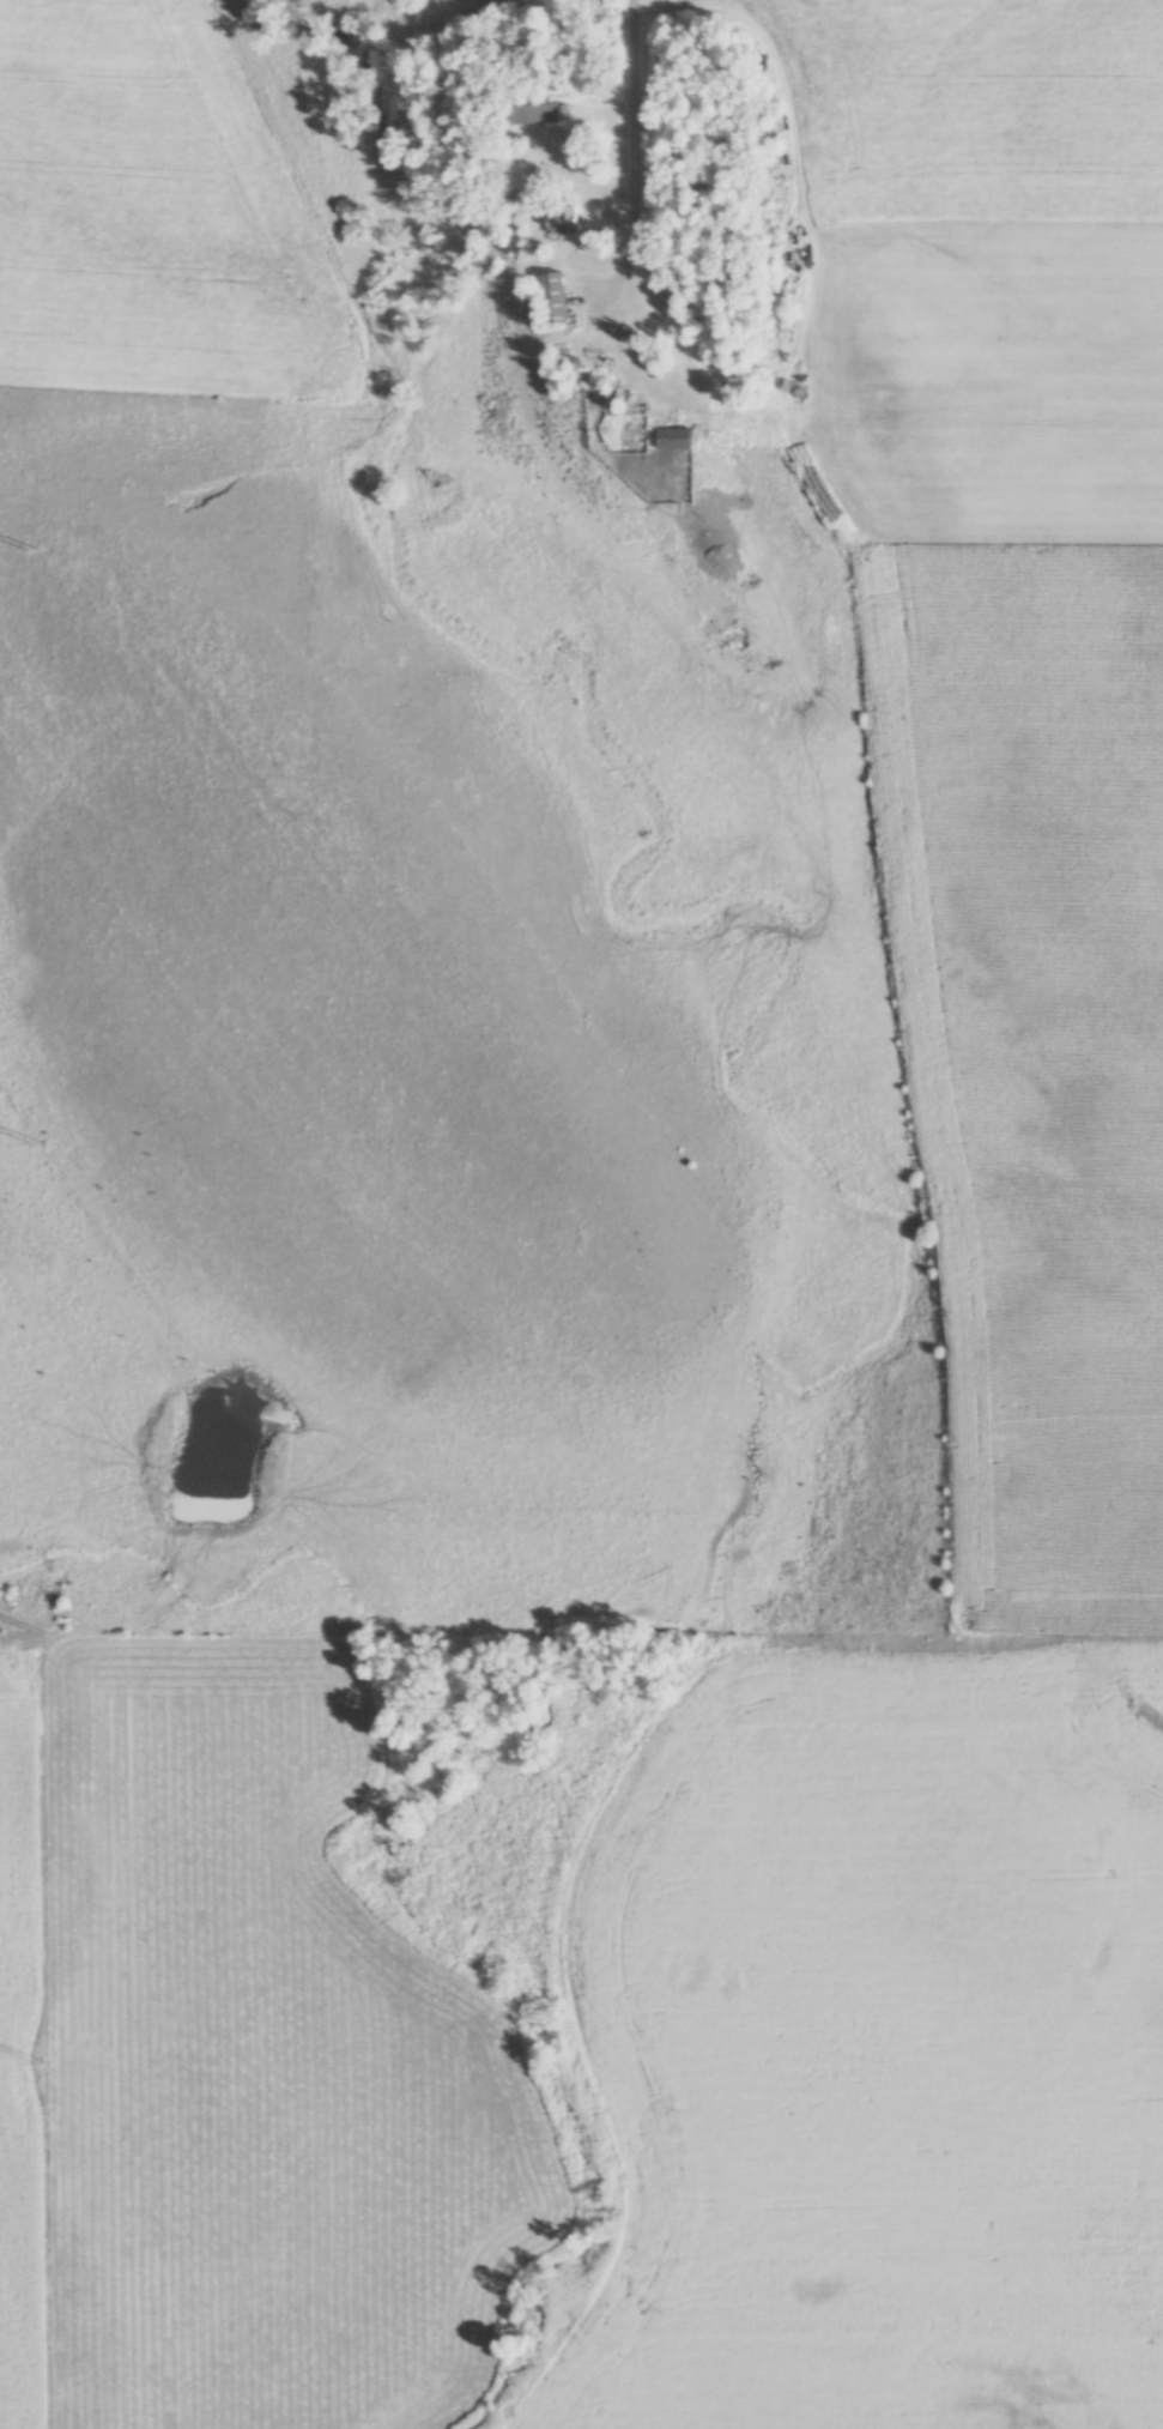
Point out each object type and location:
building: (537, 105)
road: (632, 162)
building: (564, 218)
building: (556, 300)
building: (678, 440)
power tower: (31, 551)
crop: (1034, 1050)
power tower: (34, 1143)
power tower: (37, 1631)
power tower: (40, 2061)

